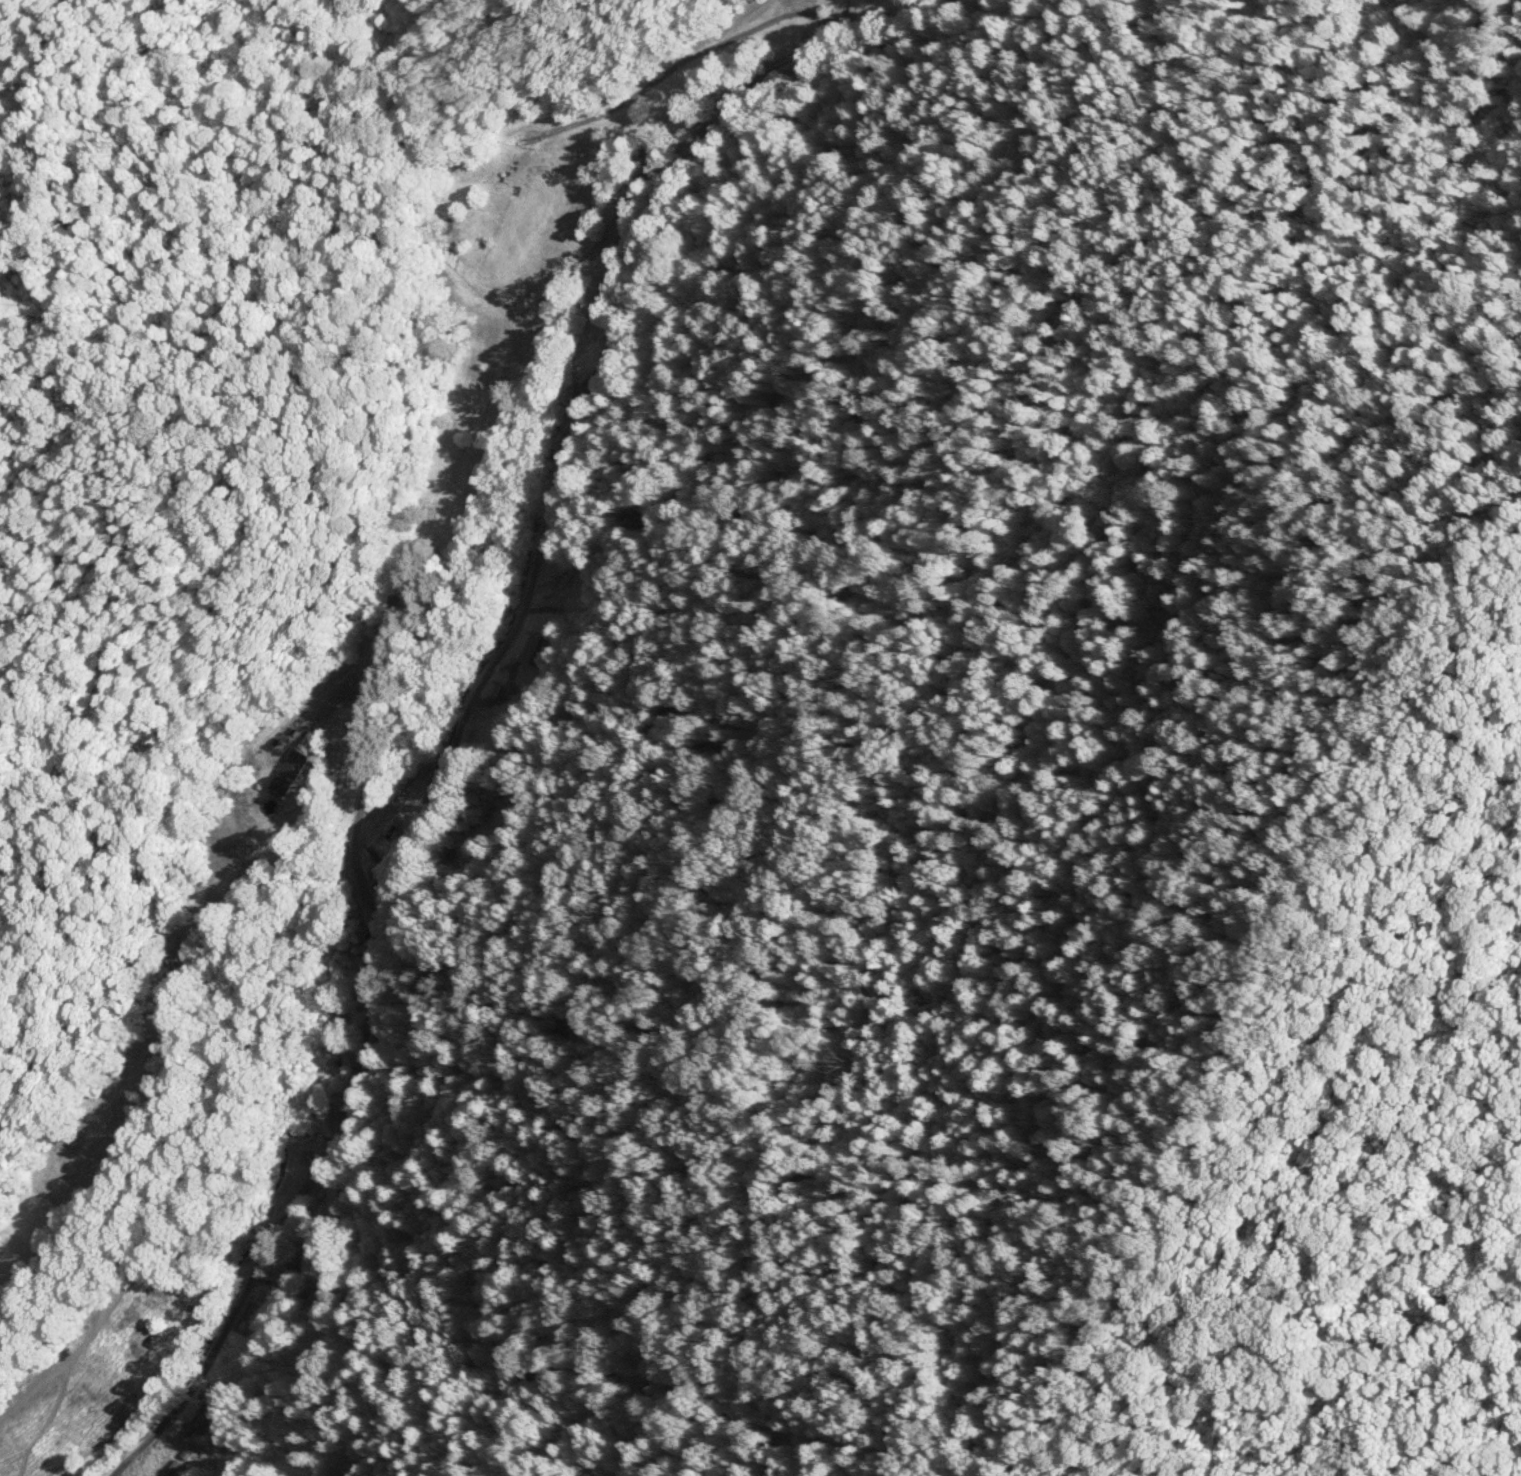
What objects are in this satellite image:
road: (699, 44)
building: (528, 184)
building: (583, 598)
building: (529, 647)
road: (421, 714)
building: (398, 842)
building: (298, 1260)

